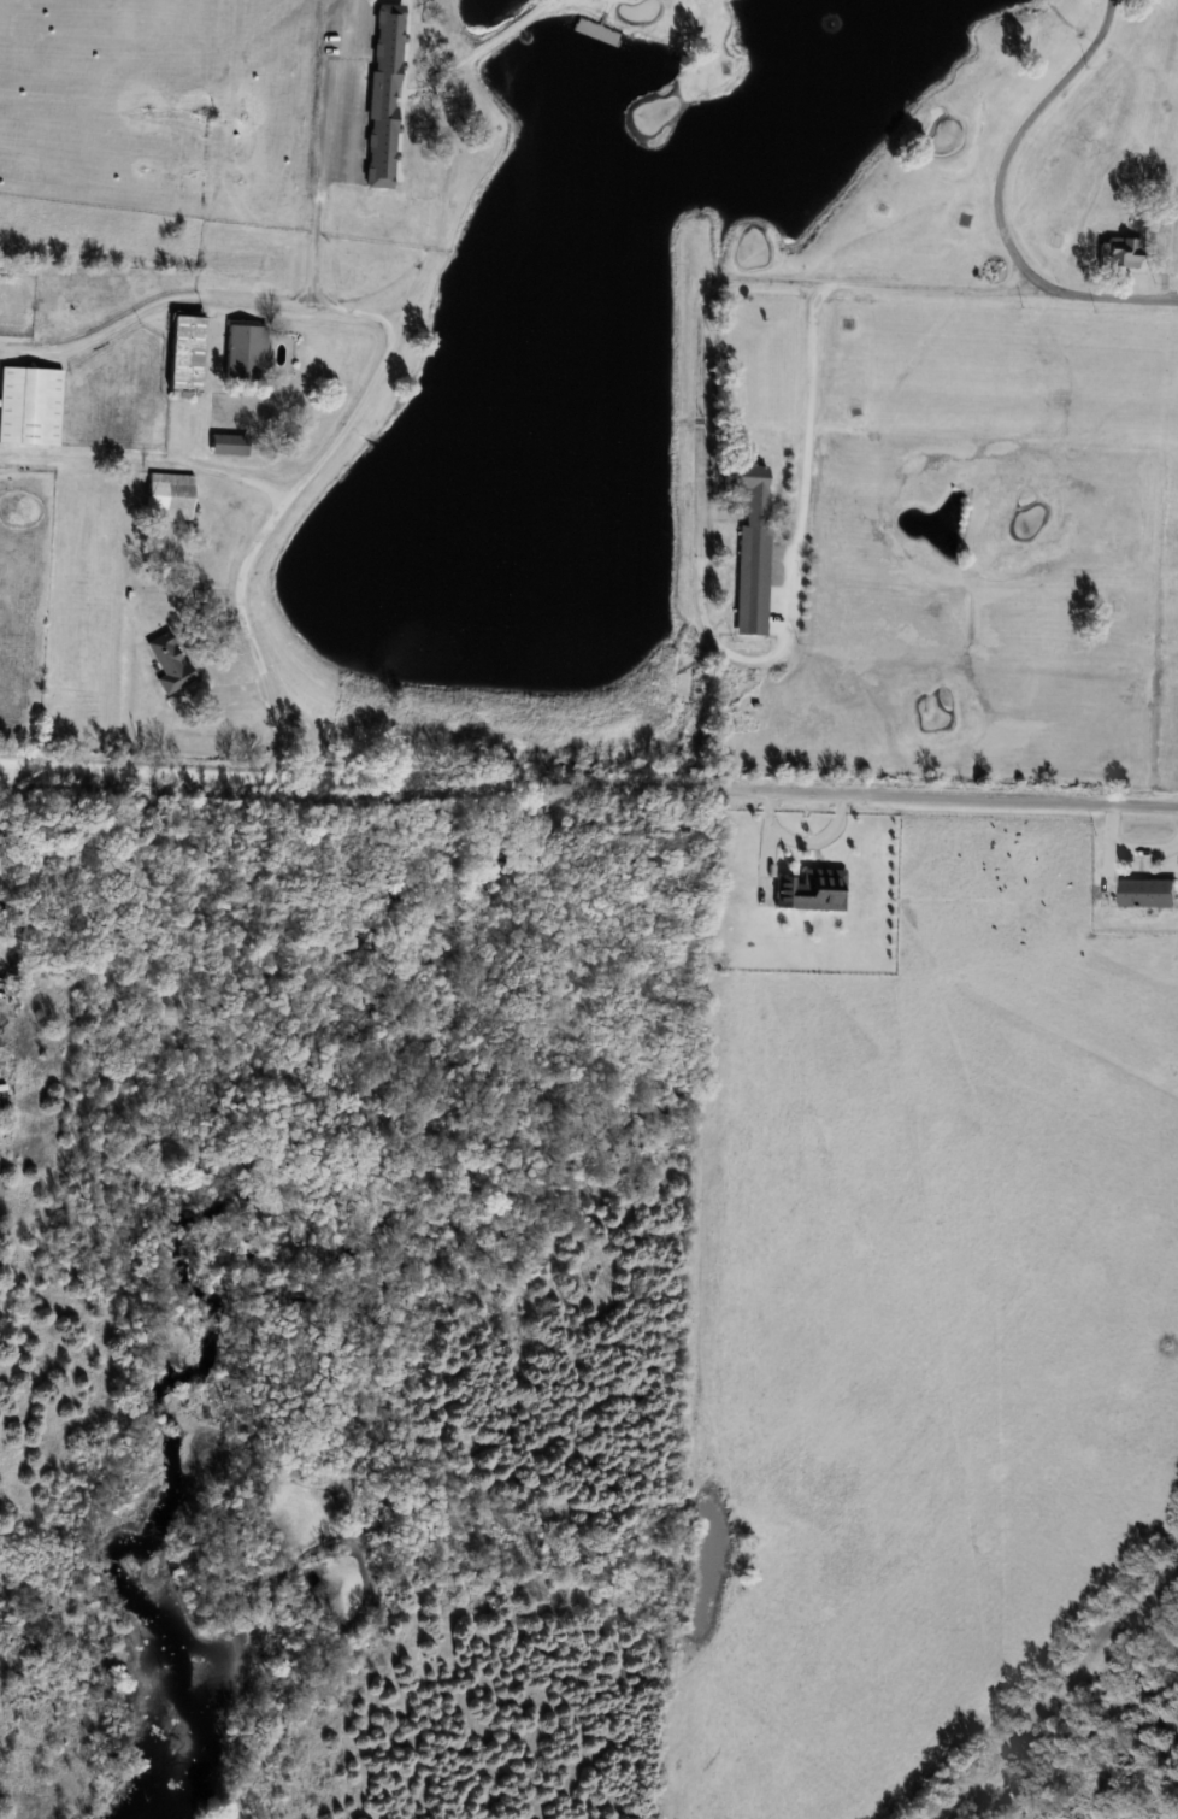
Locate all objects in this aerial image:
building: (384, 96)
road: (1012, 145)
road: (323, 148)
building: (1120, 252)
road: (793, 282)
road: (195, 300)
building: (246, 352)
building: (185, 353)
building: (30, 406)
building: (229, 445)
road: (146, 465)
building: (170, 495)
road: (263, 532)
building: (752, 542)
building: (169, 663)
road: (11, 778)
road: (588, 785)
building: (812, 890)
building: (1148, 891)

